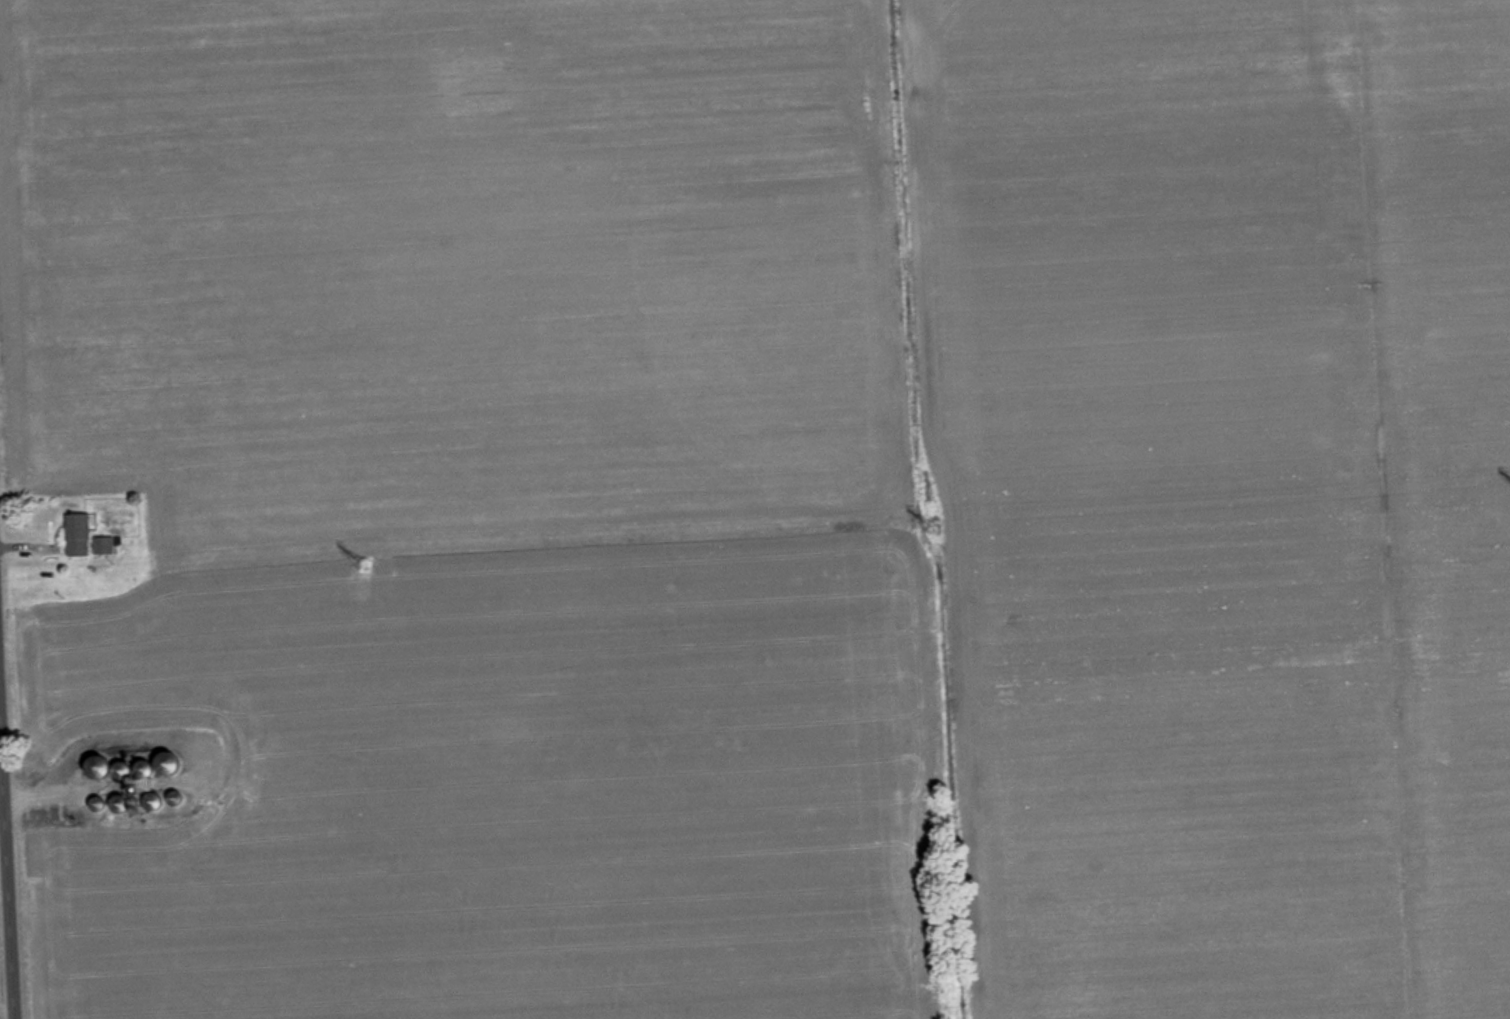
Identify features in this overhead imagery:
power tower: (934, 527)
building: (84, 534)
power tower: (366, 566)
road: (0, 769)
road: (6, 883)

